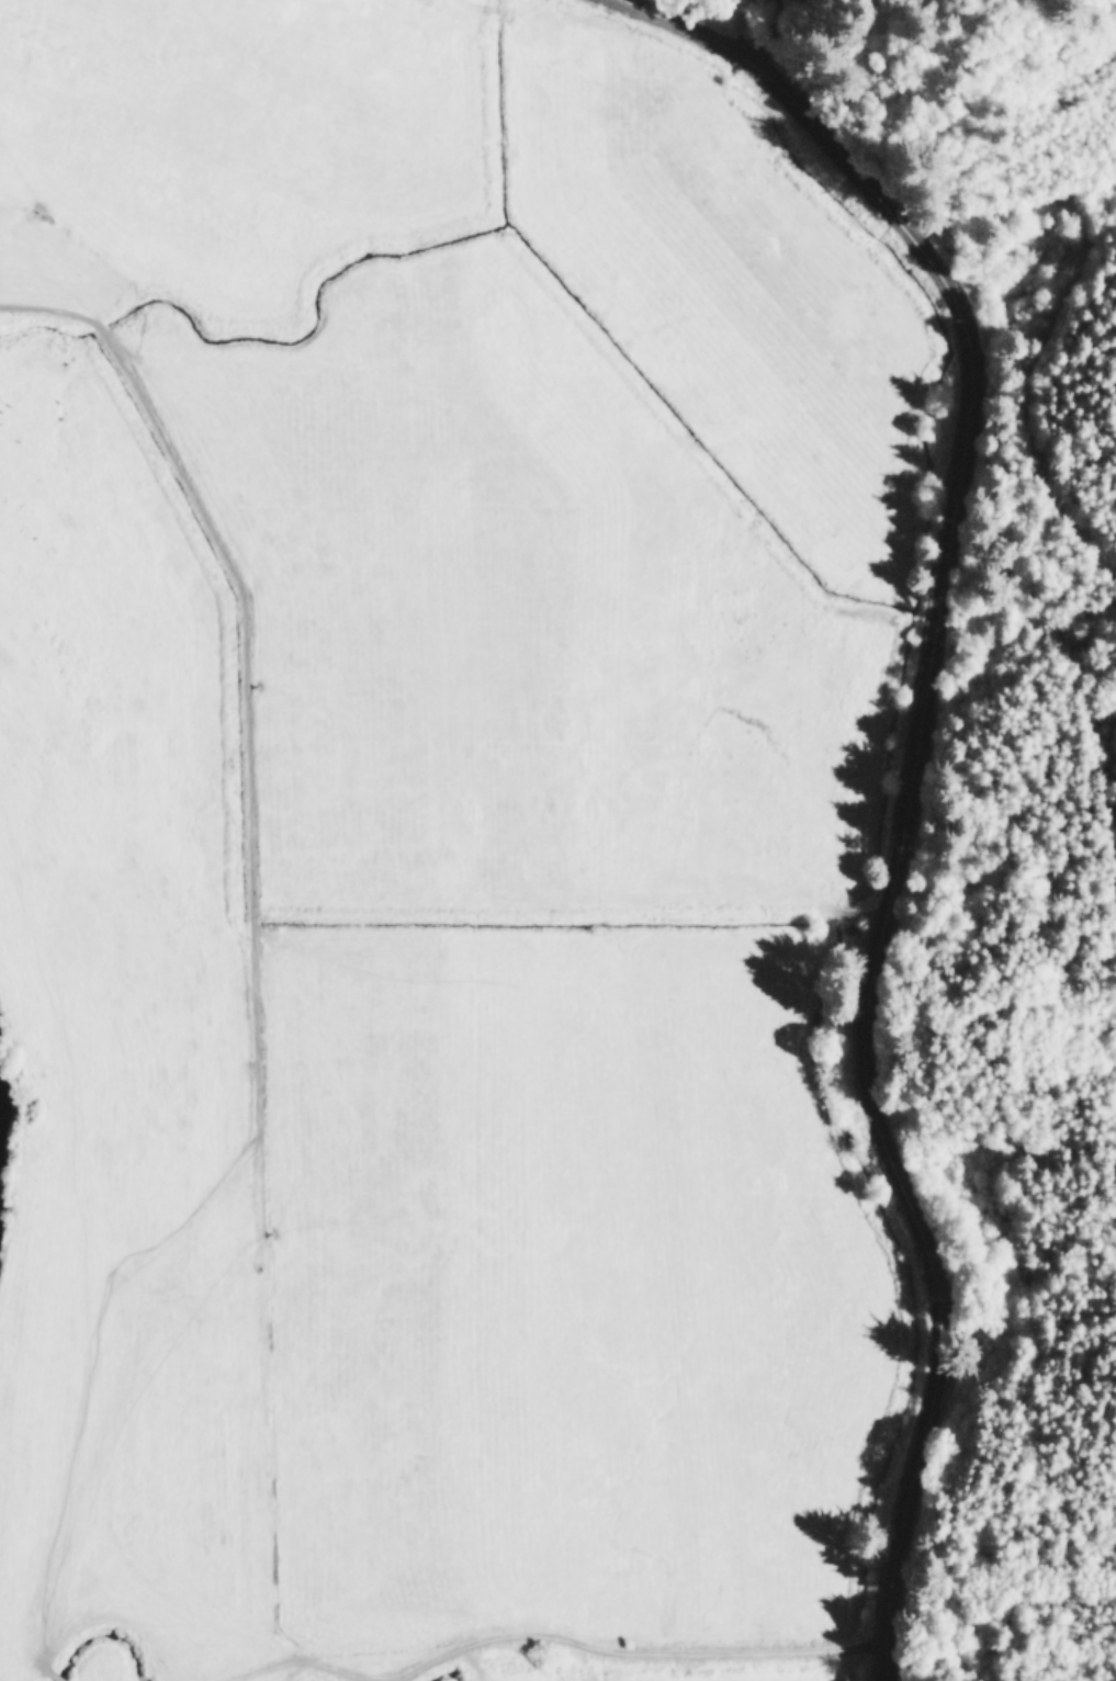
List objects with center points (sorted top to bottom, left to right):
road: (754, 30)
road: (1072, 443)
road: (909, 771)
crop: (421, 858)
road: (546, 1635)

